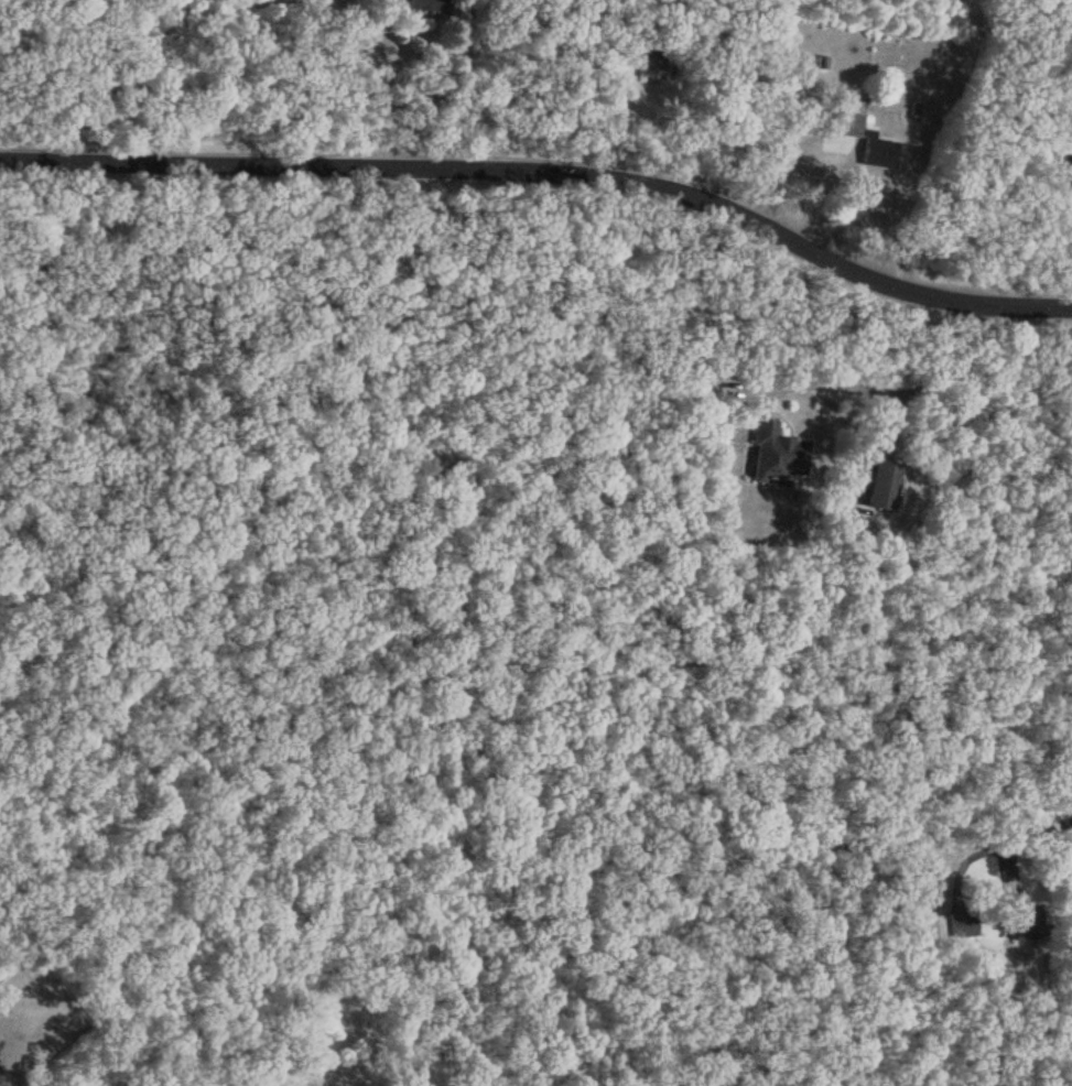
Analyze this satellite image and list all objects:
building: (426, 4)
building: (650, 64)
road: (368, 80)
building: (842, 123)
building: (878, 152)
road: (816, 155)
road: (546, 172)
road: (898, 393)
building: (776, 454)
building: (884, 485)
road: (1033, 829)
building: (1020, 919)
building: (962, 924)

